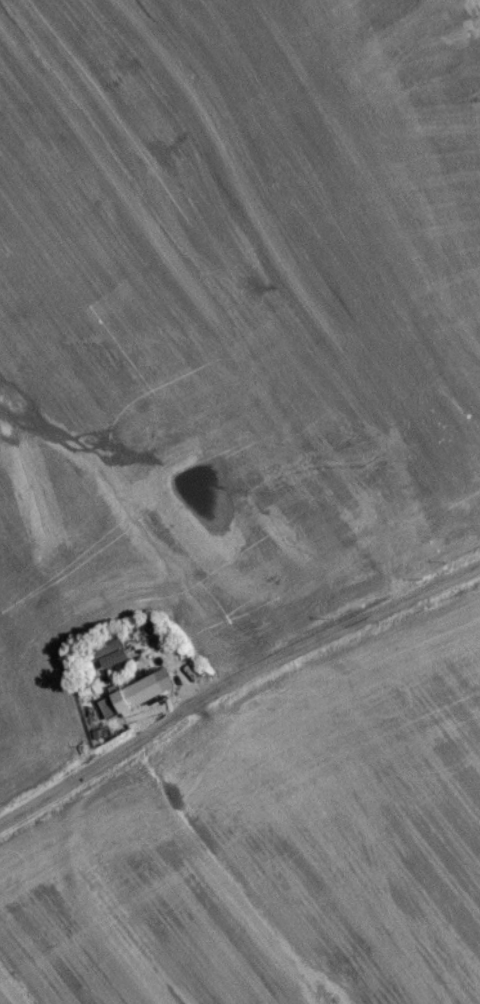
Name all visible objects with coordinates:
building: (111, 651)
road: (232, 682)
building: (139, 699)

